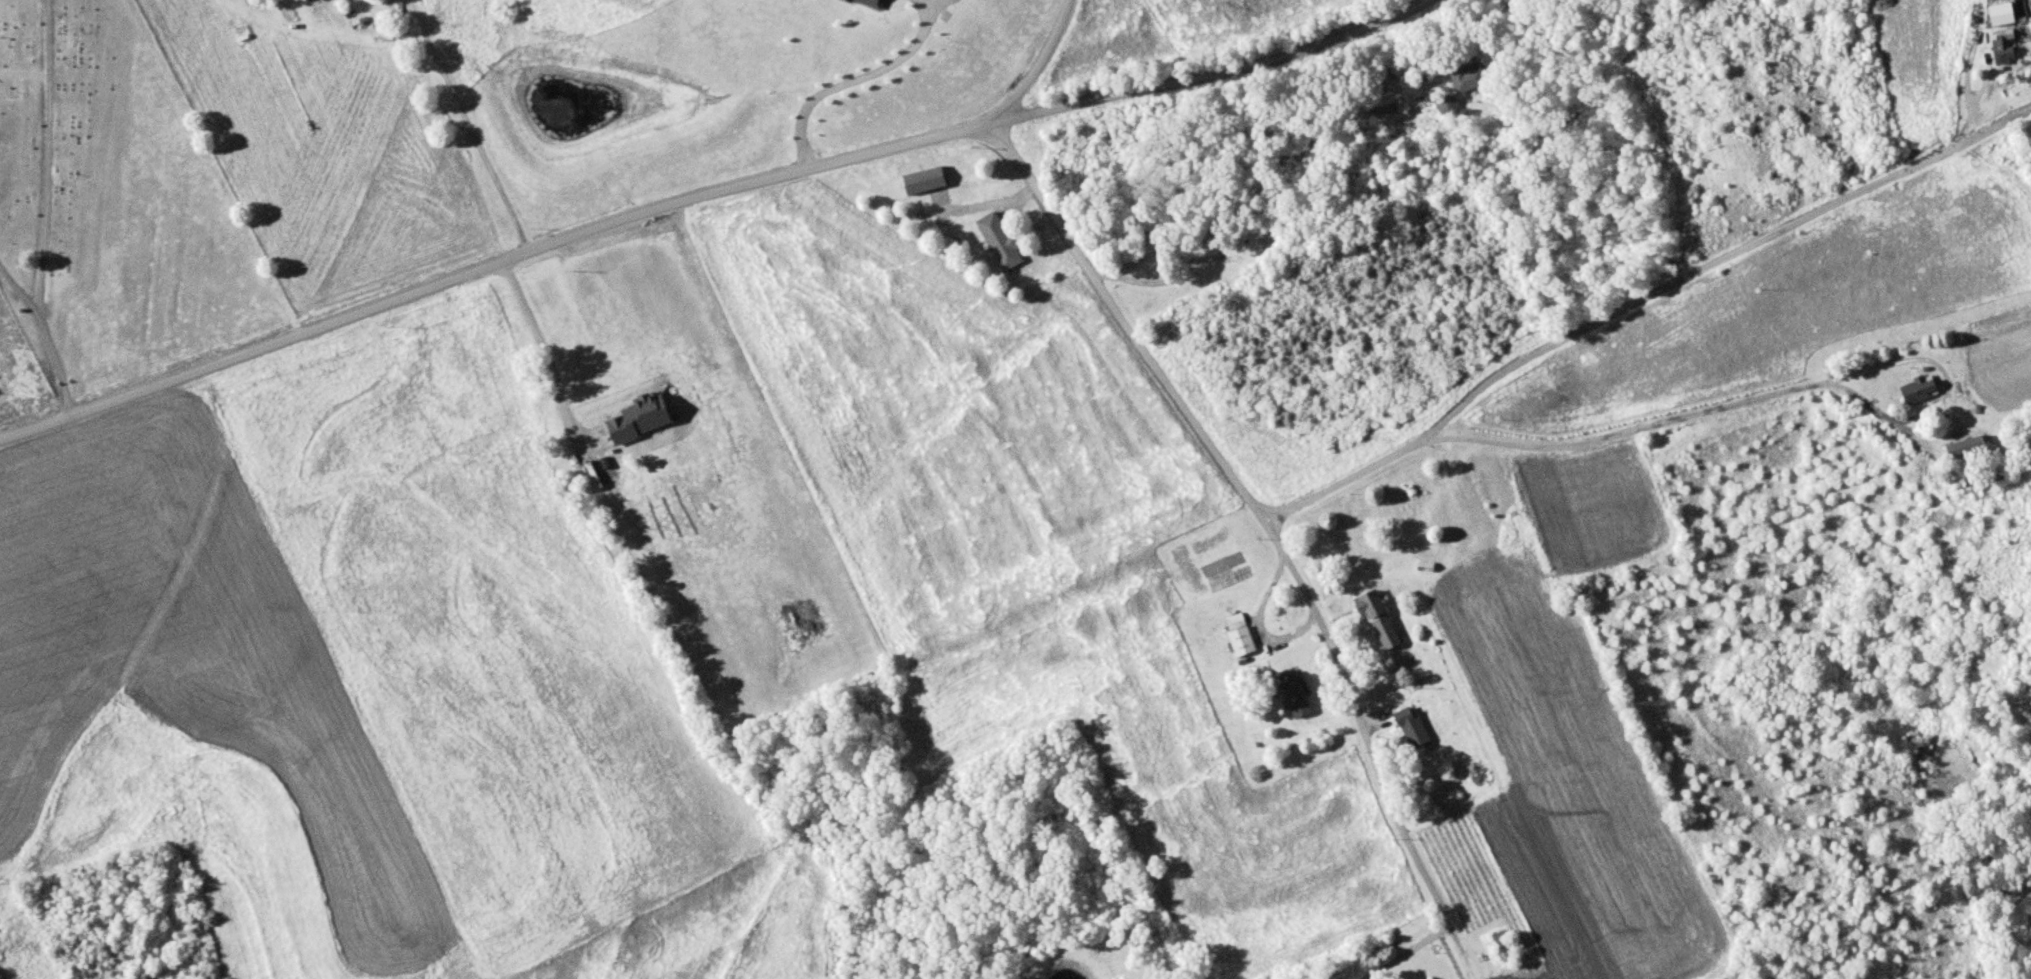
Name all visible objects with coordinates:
road: (1028, 61)
road: (854, 79)
road: (465, 124)
road: (47, 156)
road: (688, 204)
park: (110, 208)
road: (17, 290)
road: (1637, 300)
road: (550, 358)
road: (55, 364)
road: (1627, 433)
road: (1254, 506)
road: (1408, 951)

